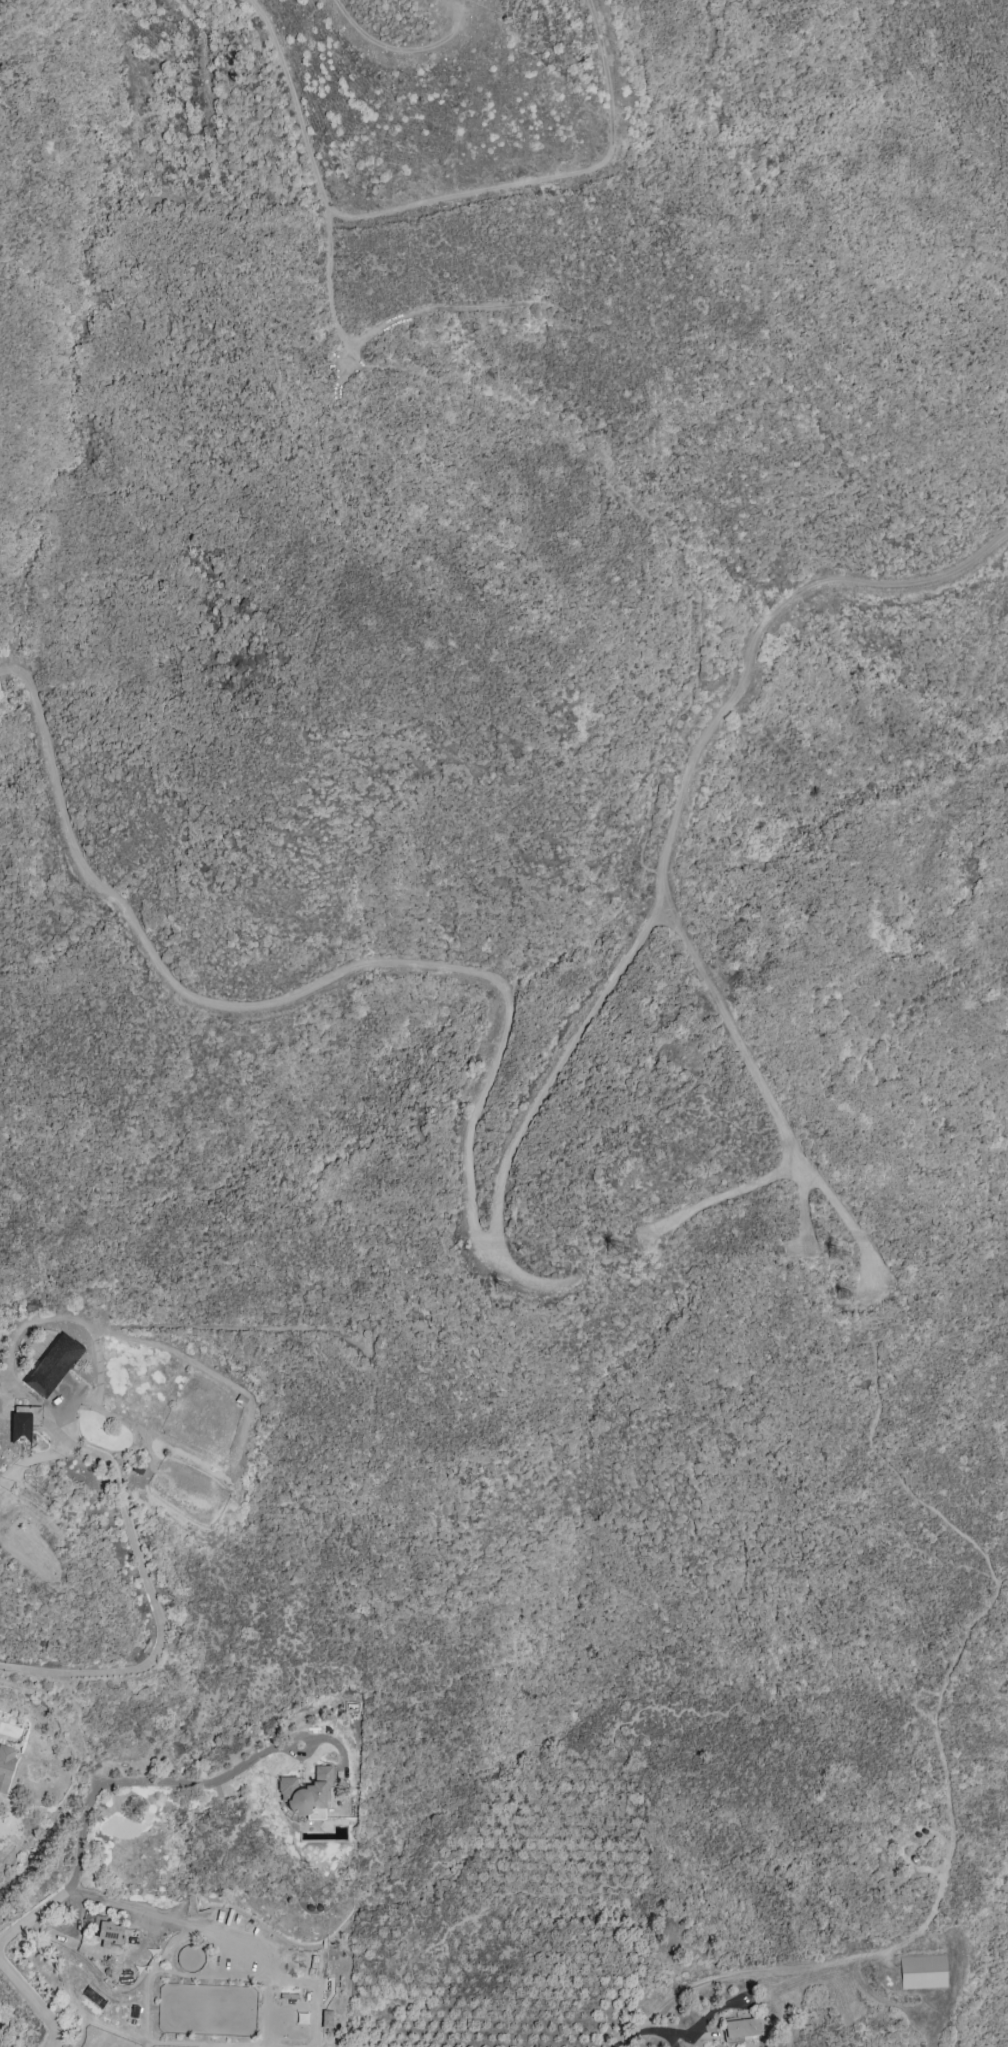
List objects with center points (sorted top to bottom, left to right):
road: (316, 173)
road: (725, 330)
road: (661, 532)
road: (761, 1082)
road: (719, 1195)
road: (803, 1212)
road: (479, 1227)
power tower: (628, 1253)
power tower: (854, 1256)
road: (525, 1278)
power tower: (512, 1292)
power tower: (854, 1298)
building: (52, 1366)
building: (23, 1423)
road: (146, 1572)
road: (308, 1742)
road: (335, 1745)
building: (5, 1766)
road: (98, 1781)
building: (306, 1793)
road: (199, 1928)
building: (108, 1932)
road: (103, 1954)
building: (922, 1972)
road: (34, 2002)
building: (326, 2019)
building: (739, 2028)
road: (637, 2042)

